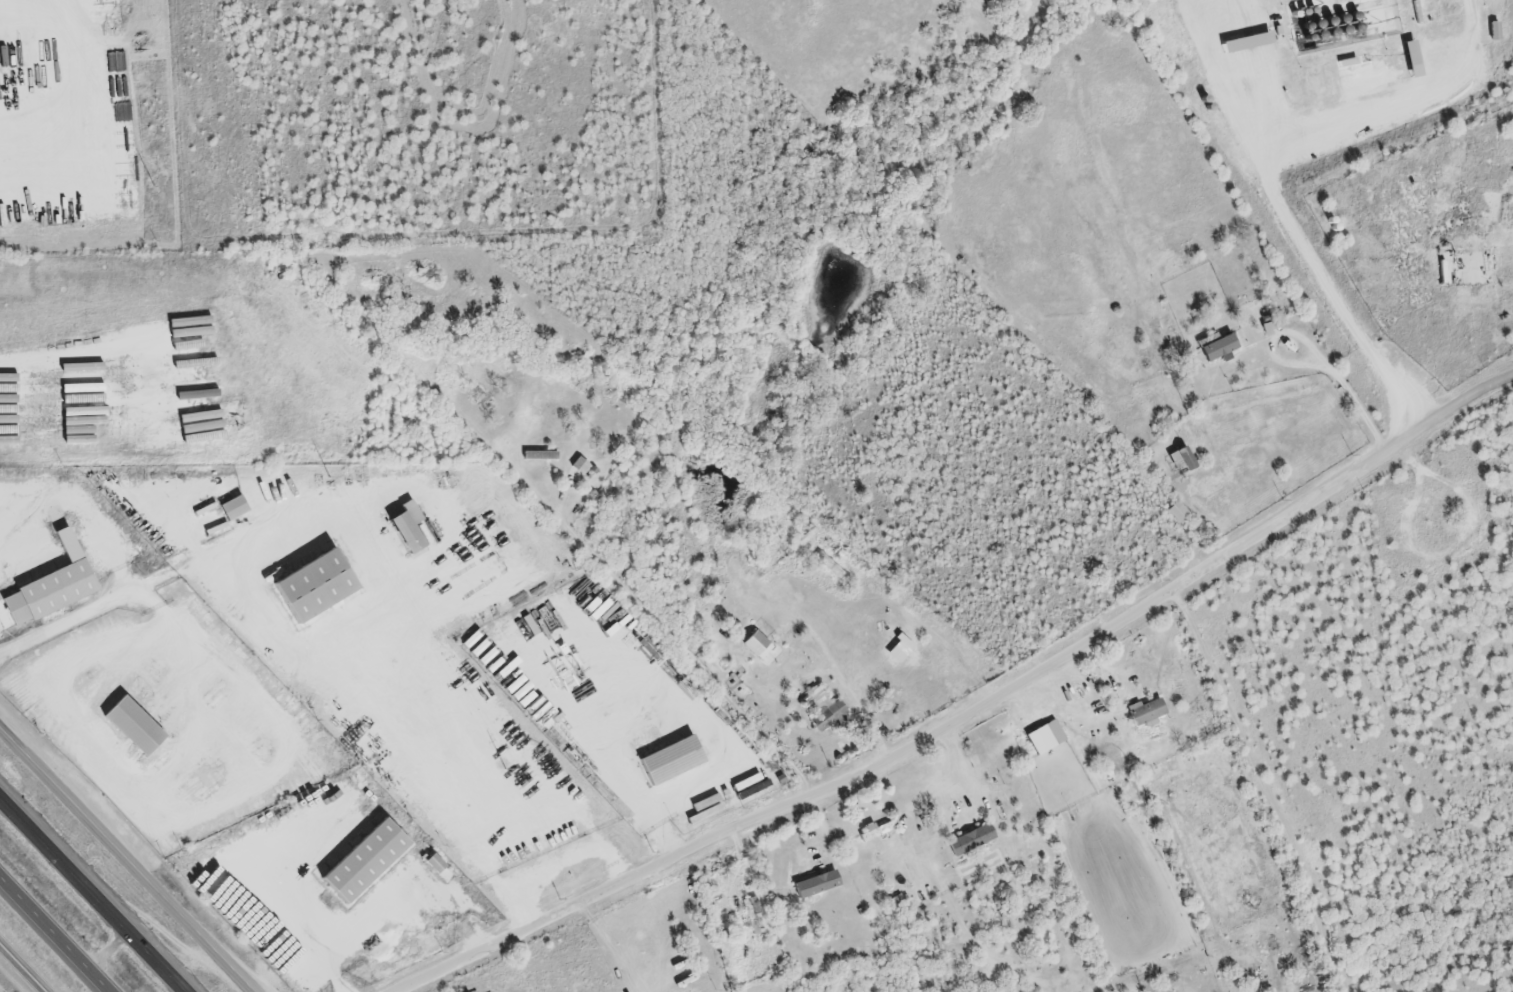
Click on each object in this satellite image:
road: (1223, 86)
road: (1402, 115)
power tower: (152, 183)
road: (1338, 301)
building: (1509, 304)
building: (1221, 348)
road: (1315, 350)
road: (64, 372)
building: (1182, 460)
building: (577, 467)
power tower: (327, 477)
building: (1176, 514)
building: (16, 533)
road: (124, 591)
building: (753, 644)
road: (684, 653)
road: (64, 662)
building: (852, 668)
road: (847, 693)
road: (972, 709)
building: (821, 712)
building: (1144, 714)
road: (197, 724)
building: (1041, 735)
road: (615, 759)
power tower: (503, 763)
road: (958, 771)
road: (1263, 789)
building: (874, 828)
building: (967, 838)
road: (132, 854)
building: (814, 887)
road: (95, 892)
road: (394, 912)
road: (55, 933)
road: (603, 948)
road: (110, 949)
road: (18, 972)

